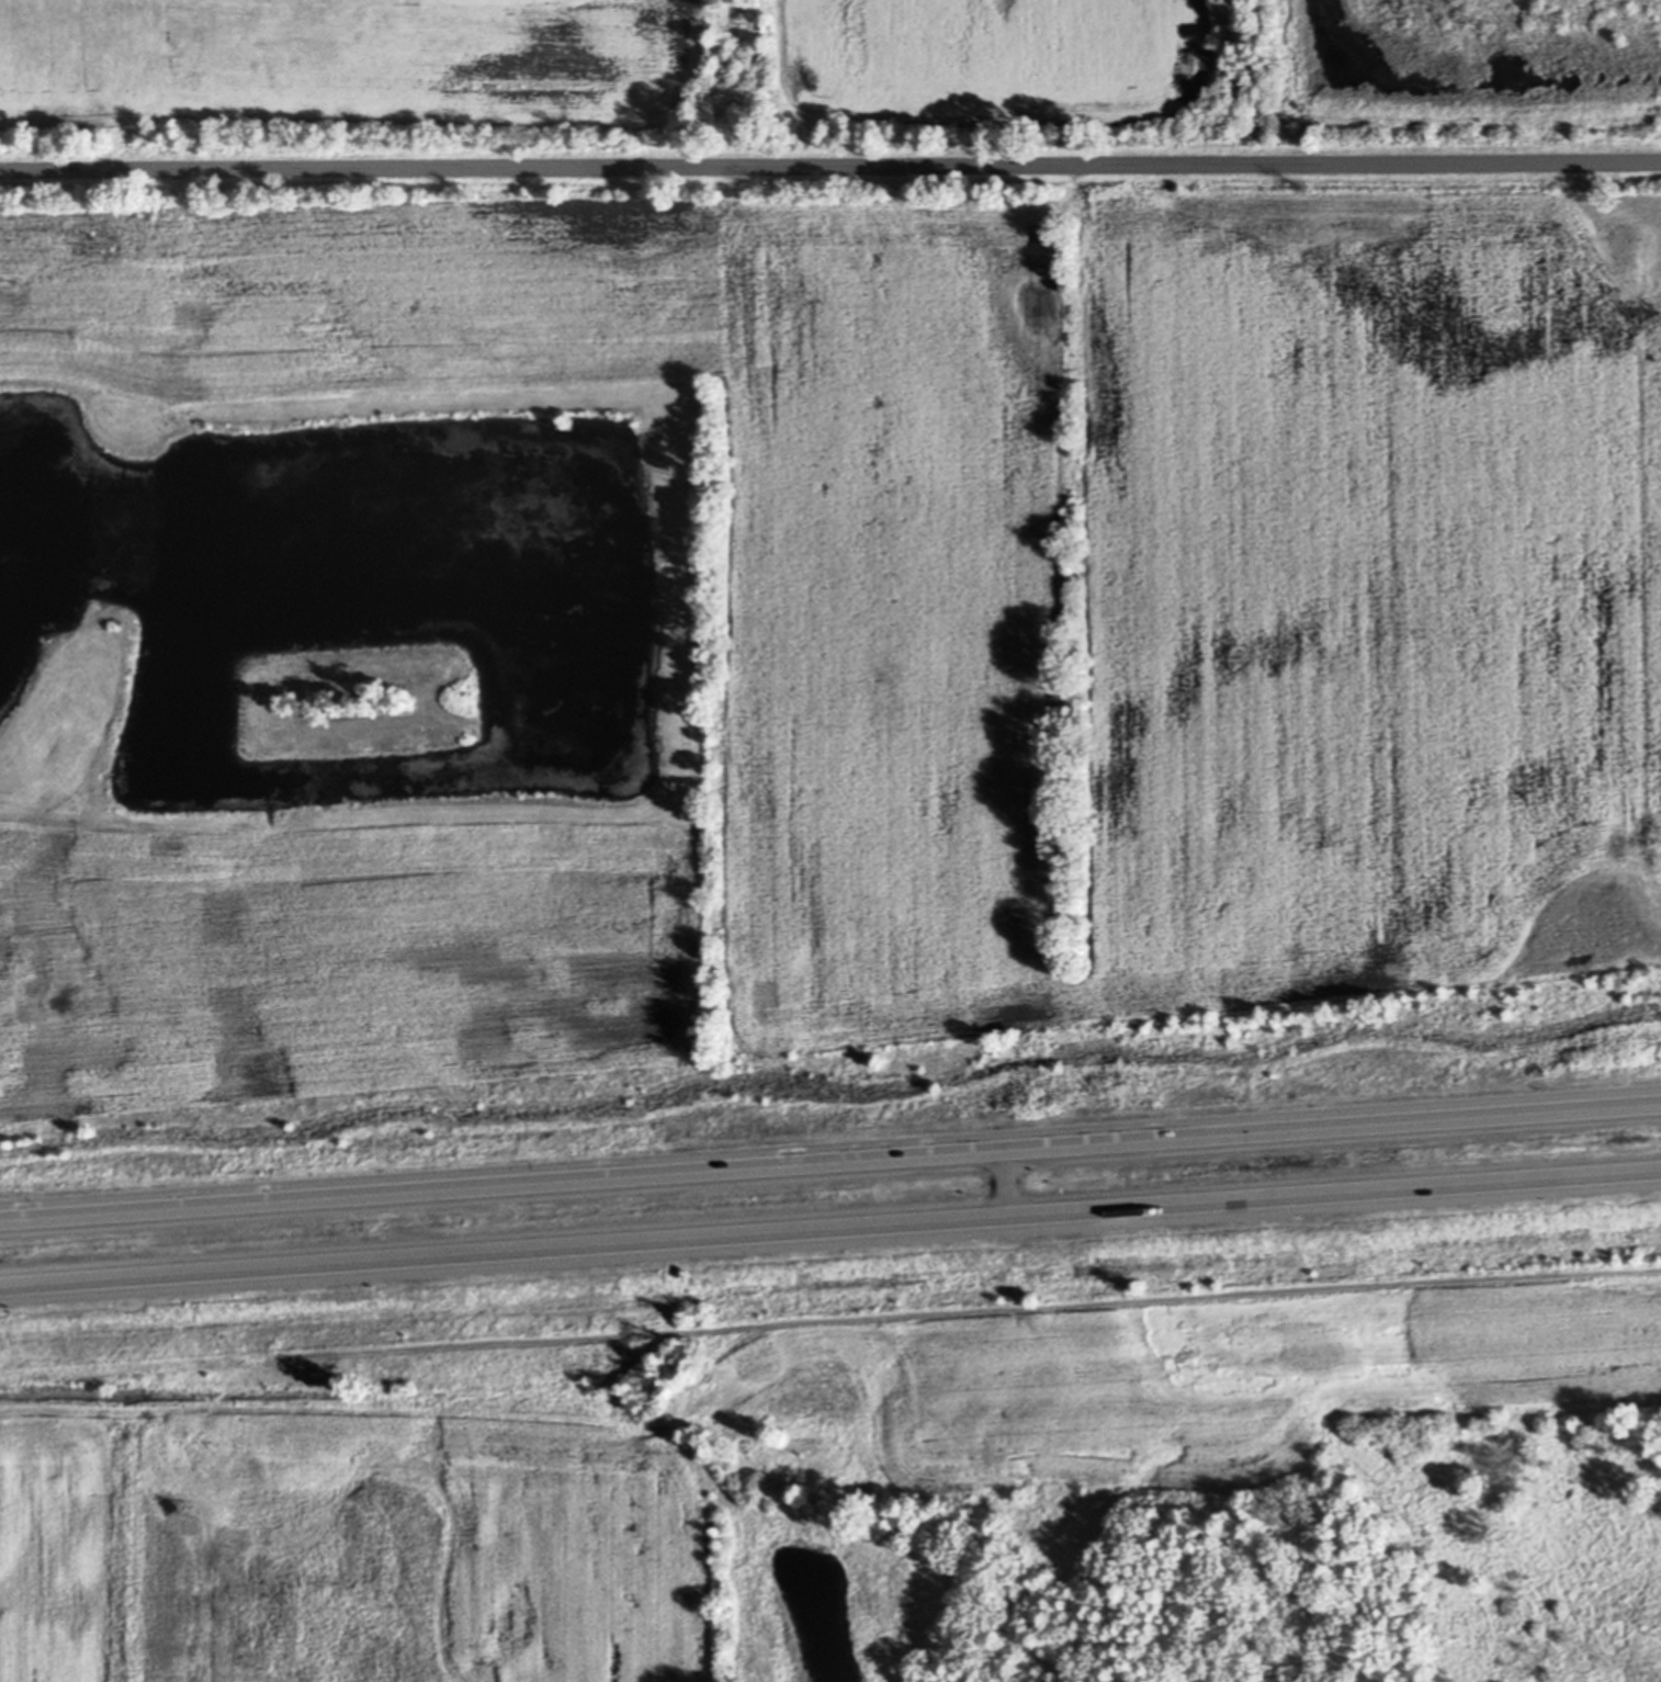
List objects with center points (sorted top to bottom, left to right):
building: (768, 16)
road: (830, 167)
road: (829, 1163)
road: (1007, 1184)
road: (830, 1229)
building: (696, 1331)
road: (338, 1352)
building: (805, 1505)

